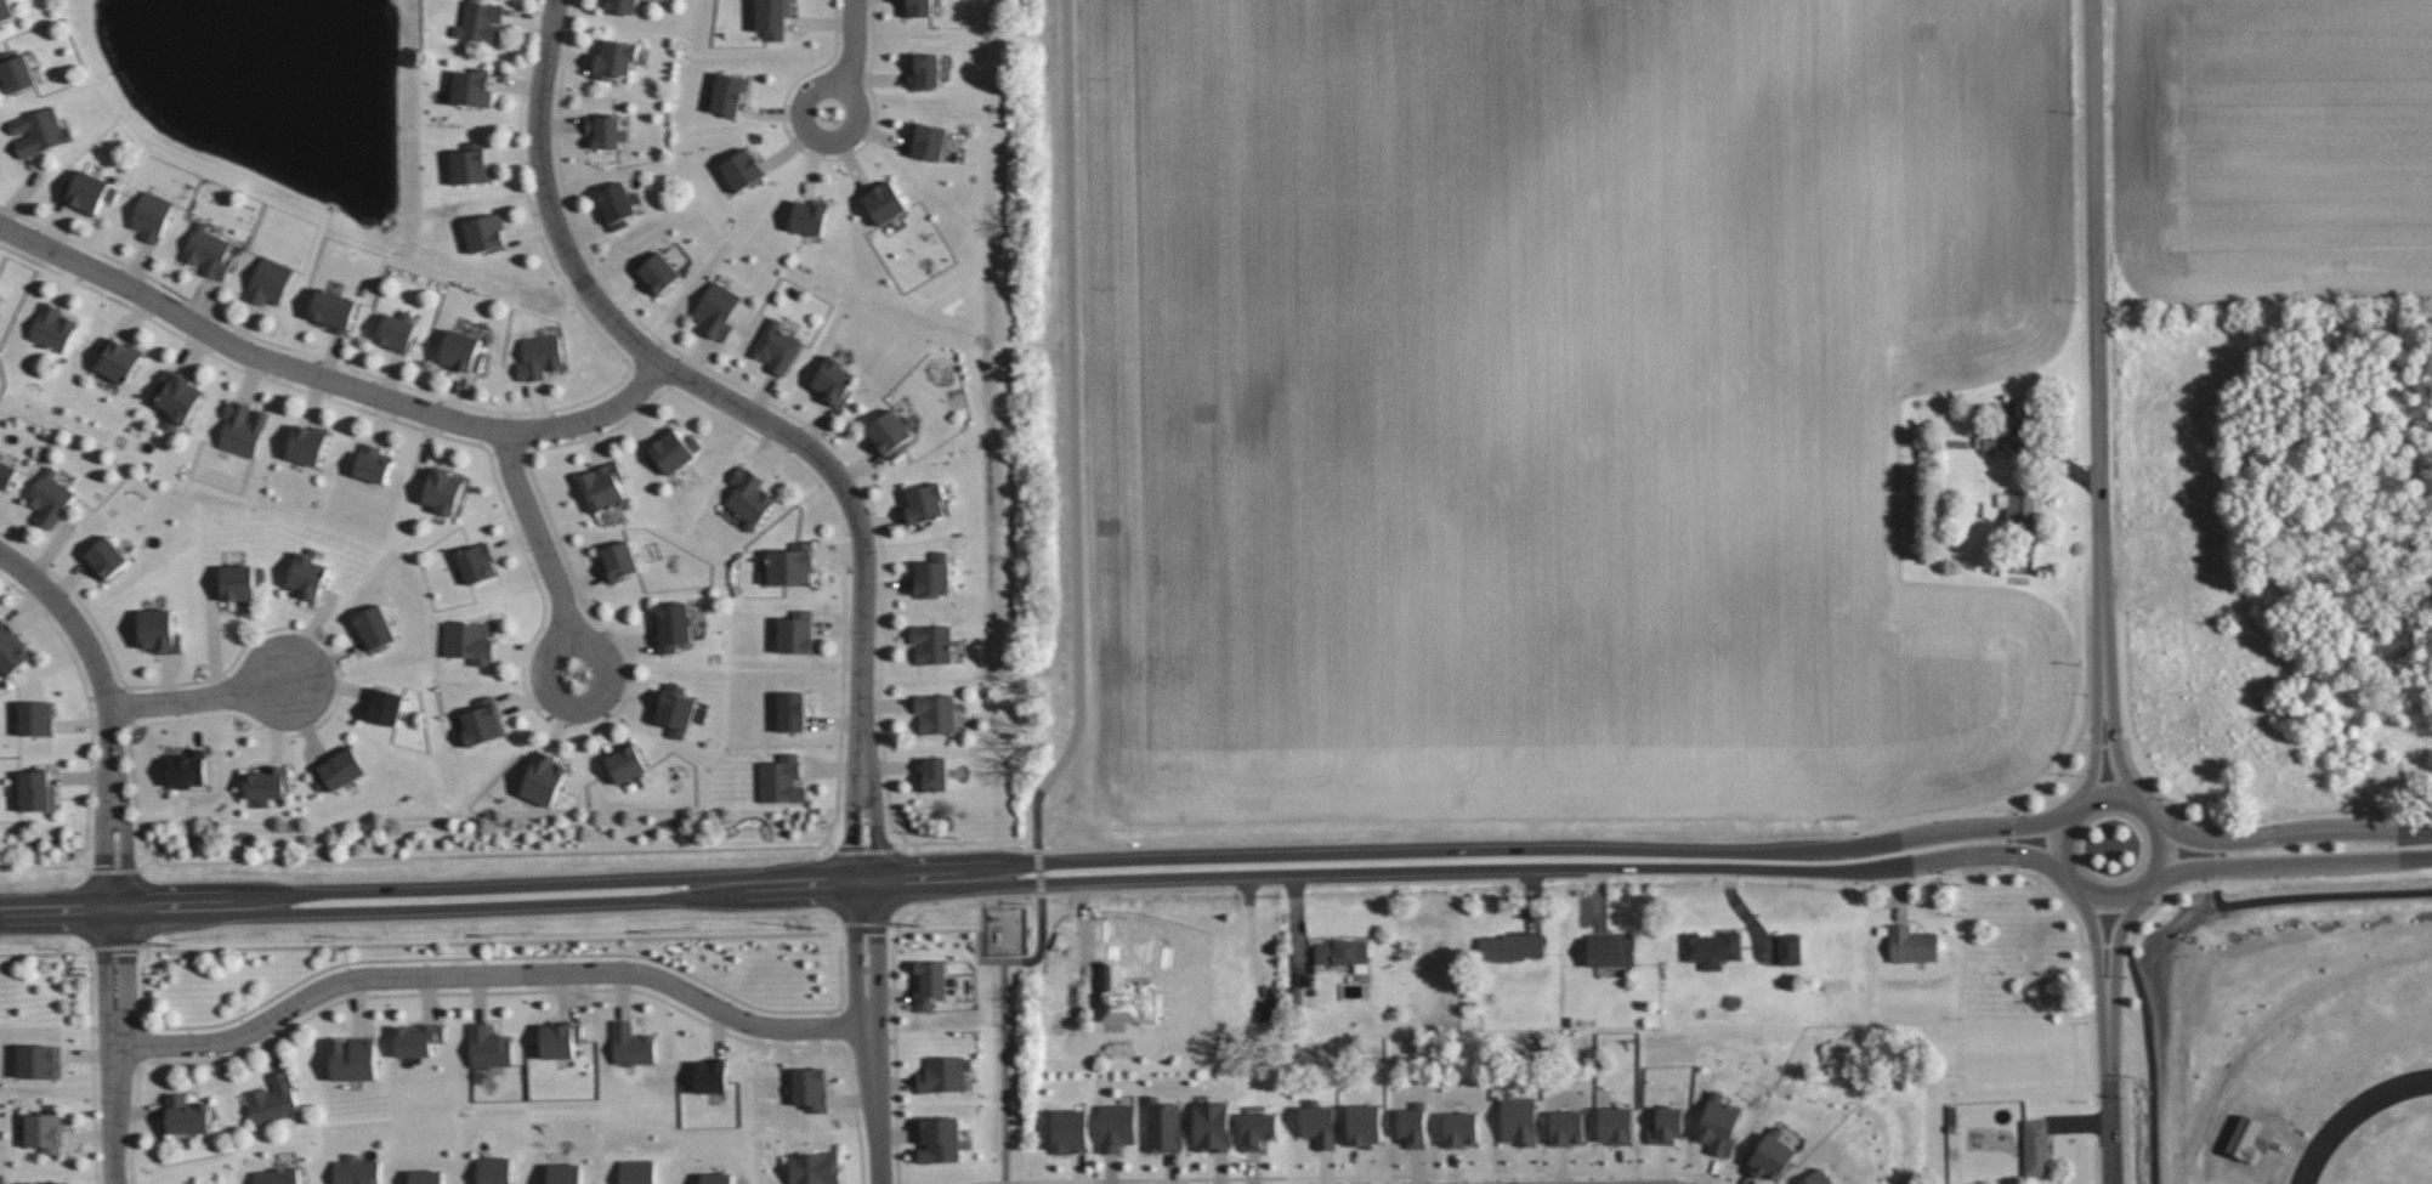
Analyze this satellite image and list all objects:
building: (622, 6)
building: (917, 7)
building: (5, 11)
building: (772, 17)
building: (480, 21)
road: (855, 39)
building: (614, 58)
building: (924, 70)
building: (15, 72)
building: (472, 86)
building: (729, 94)
road: (805, 113)
building: (605, 130)
building: (39, 131)
building: (929, 140)
building: (471, 164)
building: (743, 169)
building: (87, 191)
building: (884, 202)
building: (617, 204)
building: (152, 215)
building: (810, 216)
building: (486, 232)
building: (208, 250)
building: (656, 272)
building: (270, 281)
building: (333, 308)
building: (716, 310)
building: (52, 327)
building: (398, 330)
road: (2098, 342)
building: (776, 346)
building: (461, 351)
building: (540, 356)
building: (118, 358)
road: (328, 380)
building: (833, 381)
building: (177, 397)
road: (758, 418)
road: (1073, 426)
building: (243, 427)
building: (890, 432)
building: (1996, 442)
building: (307, 443)
building: (671, 451)
building: (373, 463)
building: (6, 474)
building: (603, 486)
building: (443, 491)
building: (49, 497)
building: (749, 497)
building: (924, 502)
building: (2018, 510)
road: (540, 534)
building: (106, 557)
building: (618, 560)
building: (477, 562)
building: (789, 563)
building: (307, 574)
building: (932, 576)
building: (240, 580)
building: (673, 625)
building: (374, 627)
building: (159, 630)
road: (568, 631)
building: (797, 631)
building: (470, 641)
building: (931, 642)
building: (11, 648)
road: (195, 698)
building: (385, 706)
building: (675, 709)
building: (790, 710)
building: (935, 712)
road: (106, 713)
building: (36, 718)
building: (482, 721)
road: (2116, 733)
road: (2099, 735)
building: (625, 763)
building: (340, 769)
building: (932, 772)
building: (544, 778)
building: (781, 778)
building: (266, 783)
building: (36, 791)
road: (2064, 793)
road: (2164, 797)
road: (1960, 827)
road: (2300, 831)
road: (951, 840)
road: (1965, 855)
road: (977, 862)
road: (2300, 862)
road: (934, 885)
road: (2317, 895)
road: (2059, 896)
road: (2165, 897)
road: (2114, 903)
road: (977, 906)
building: (1912, 944)
building: (1510, 946)
building: (1712, 948)
building: (1788, 948)
building: (1611, 951)
building: (1343, 953)
road: (880, 957)
road: (852, 958)
road: (492, 971)
road: (2102, 976)
road: (2114, 976)
building: (930, 982)
building: (1268, 1009)
building: (418, 1038)
building: (560, 1039)
road: (1004, 1043)
building: (633, 1044)
road: (117, 1047)
building: (488, 1047)
building: (353, 1058)
building: (39, 1060)
road: (2154, 1063)
building: (945, 1072)
building: (710, 1075)
building: (810, 1088)
building: (273, 1099)
road: (877, 1104)
building: (187, 1115)
building: (1520, 1120)
road: (2111, 1120)
road: (2359, 1120)
building: (1319, 1123)
building: (1365, 1124)
building: (1413, 1124)
building: (1616, 1124)
building: (1667, 1124)
building: (1719, 1124)
building: (1116, 1126)
building: (1163, 1126)
building: (1212, 1126)
building: (1568, 1127)
building: (1462, 1128)
building: (1258, 1129)
building: (1070, 1131)
building: (45, 1132)
building: (940, 1139)
building: (2036, 1146)
building: (1770, 1155)
building: (815, 1168)
building: (494, 1169)
building: (356, 1171)
building: (637, 1171)
building: (565, 1173)
building: (277, 1175)
building: (426, 1175)
building: (716, 1178)
building: (1816, 1178)
building: (45, 1183)

